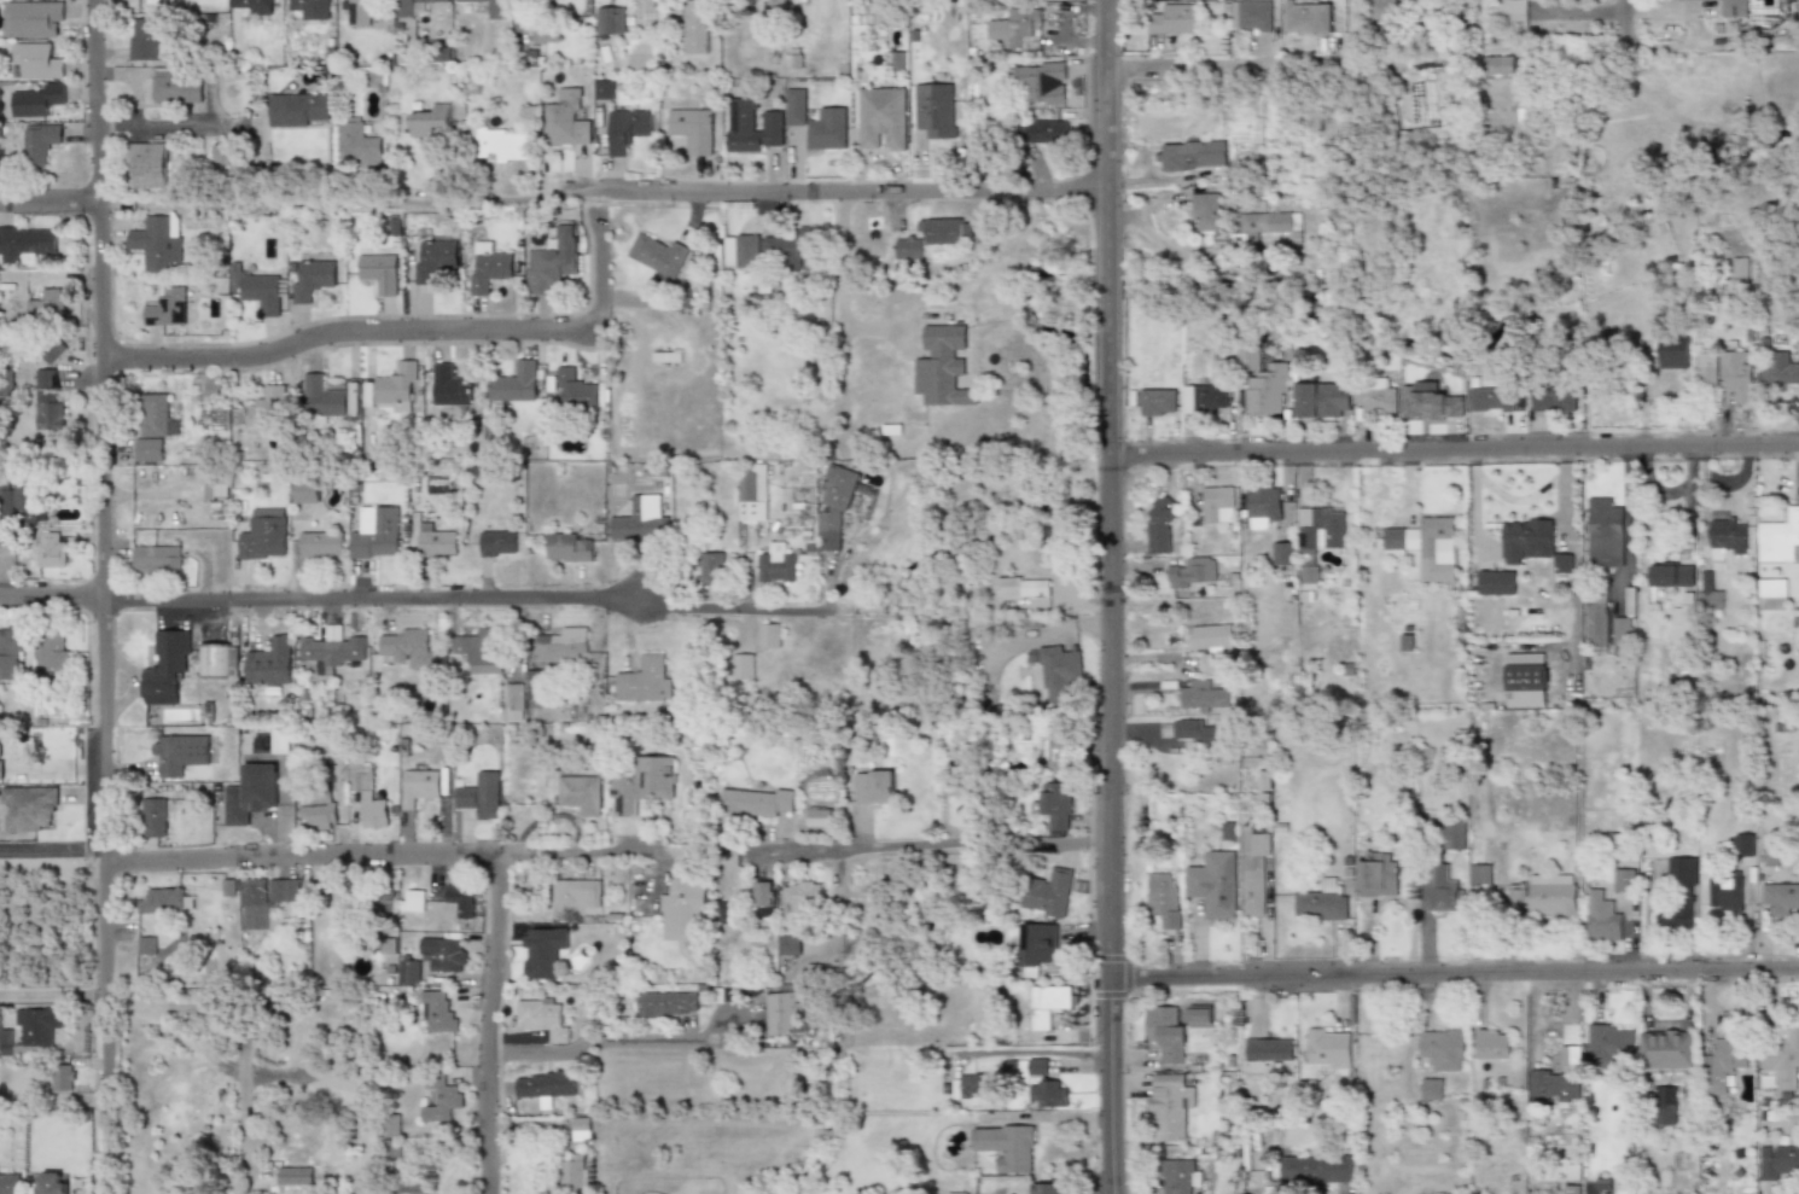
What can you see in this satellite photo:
building: (658, 0)
building: (745, 2)
building: (249, 6)
building: (404, 7)
building: (310, 8)
building: (1734, 8)
building: (495, 10)
road: (1582, 11)
building: (1507, 12)
building: (357, 13)
building: (1251, 14)
building: (1306, 17)
building: (30, 18)
building: (1172, 19)
building: (611, 21)
building: (694, 27)
building: (545, 31)
building: (1014, 31)
building: (142, 39)
building: (36, 60)
road: (1259, 62)
building: (1501, 64)
building: (1041, 82)
building: (175, 88)
building: (601, 89)
road: (1625, 91)
building: (35, 100)
building: (793, 106)
building: (298, 109)
building: (935, 109)
building: (566, 118)
building: (881, 120)
building: (431, 121)
road: (177, 124)
building: (749, 127)
building: (624, 129)
building: (692, 129)
building: (826, 129)
building: (1041, 132)
building: (1332, 134)
building: (37, 141)
building: (359, 144)
building: (502, 145)
building: (1192, 155)
building: (220, 157)
building: (146, 165)
road: (776, 190)
road: (47, 200)
road: (293, 203)
building: (1204, 211)
building: (1268, 222)
building: (944, 232)
building: (24, 241)
building: (152, 243)
building: (908, 247)
building: (741, 250)
building: (787, 250)
building: (654, 255)
building: (432, 258)
road: (842, 260)
building: (552, 261)
building: (488, 269)
building: (1739, 269)
building: (378, 270)
building: (310, 278)
building: (257, 291)
building: (47, 302)
building: (164, 307)
road: (401, 328)
building: (52, 350)
building: (1672, 351)
building: (1247, 359)
building: (944, 366)
building: (1707, 368)
building: (1777, 368)
building: (1736, 375)
building: (513, 382)
building: (448, 385)
building: (394, 388)
building: (1264, 390)
building: (577, 391)
building: (1375, 396)
building: (1204, 397)
building: (1551, 398)
building: (328, 400)
building: (1322, 400)
building: (1490, 400)
building: (47, 402)
building: (1157, 402)
building: (1430, 403)
building: (266, 406)
building: (151, 426)
road: (1452, 450)
building: (215, 490)
building: (304, 490)
building: (751, 493)
building: (5, 503)
building: (1217, 505)
building: (1262, 505)
building: (833, 511)
building: (640, 518)
building: (1157, 525)
building: (1318, 529)
building: (375, 532)
building: (1602, 532)
building: (1725, 534)
building: (263, 535)
building: (1778, 536)
building: (435, 541)
building: (497, 543)
building: (1533, 543)
building: (320, 544)
building: (567, 547)
building: (1424, 547)
building: (52, 549)
building: (1282, 553)
building: (156, 560)
building: (775, 565)
building: (711, 566)
building: (1189, 572)
building: (1670, 575)
building: (1306, 581)
building: (1496, 582)
building: (1020, 587)
building: (1708, 593)
building: (1770, 594)
road: (98, 596)
road: (1107, 596)
road: (408, 599)
building: (1596, 616)
building: (1682, 622)
building: (1622, 631)
building: (769, 636)
building: (1211, 643)
building: (560, 646)
building: (10, 648)
building: (331, 650)
building: (407, 650)
building: (479, 652)
building: (52, 653)
building: (217, 660)
building: (268, 663)
building: (744, 665)
building: (165, 666)
building: (1059, 669)
building: (645, 678)
building: (1523, 680)
building: (513, 697)
building: (1201, 697)
building: (1195, 733)
building: (1041, 749)
building: (179, 752)
building: (0, 759)
building: (472, 774)
building: (639, 784)
building: (418, 786)
building: (874, 786)
building: (249, 793)
building: (580, 793)
building: (483, 794)
building: (367, 797)
building: (751, 803)
building: (1055, 804)
building: (28, 806)
building: (318, 812)
building: (152, 819)
building: (817, 819)
building: (1454, 833)
road: (58, 841)
building: (1742, 844)
road: (378, 857)
road: (925, 857)
building: (1253, 872)
building: (1479, 874)
building: (1376, 878)
building: (1623, 880)
building: (1213, 884)
building: (1443, 889)
building: (1047, 892)
building: (576, 893)
building: (800, 895)
building: (1551, 895)
building: (1677, 896)
building: (1724, 896)
building: (1780, 896)
building: (333, 897)
building: (1515, 897)
building: (763, 898)
building: (1163, 898)
building: (460, 899)
building: (165, 901)
building: (263, 901)
building: (380, 901)
building: (1321, 903)
building: (680, 908)
building: (723, 913)
building: (1600, 918)
building: (145, 944)
building: (790, 945)
building: (1035, 947)
building: (442, 954)
road: (489, 954)
building: (538, 954)
building: (407, 972)
road: (1454, 985)
road: (50, 994)
building: (1047, 1003)
building: (666, 1004)
building: (436, 1012)
building: (782, 1013)
building: (1199, 1017)
building: (541, 1018)
building: (31, 1030)
building: (1166, 1033)
road: (612, 1039)
building: (1492, 1043)
building: (1611, 1043)
building: (1442, 1048)
building: (1329, 1049)
building: (1666, 1049)
building: (1268, 1053)
road: (1037, 1054)
building: (1782, 1058)
building: (1721, 1064)
building: (1038, 1066)
building: (62, 1077)
building: (1553, 1083)
building: (545, 1084)
building: (968, 1087)
building: (1430, 1088)
building: (1047, 1094)
building: (441, 1099)
building: (1665, 1105)
building: (1168, 1106)
road: (483, 1124)
building: (389, 1125)
building: (580, 1128)
building: (1007, 1146)
building: (1776, 1160)
building: (1316, 1170)
building: (292, 1175)
building: (574, 1175)
building: (1177, 1176)
building: (50, 1183)
building: (8, 1186)
building: (414, 1188)
building: (1047, 1188)
building: (1572, 1189)
building: (956, 1193)

